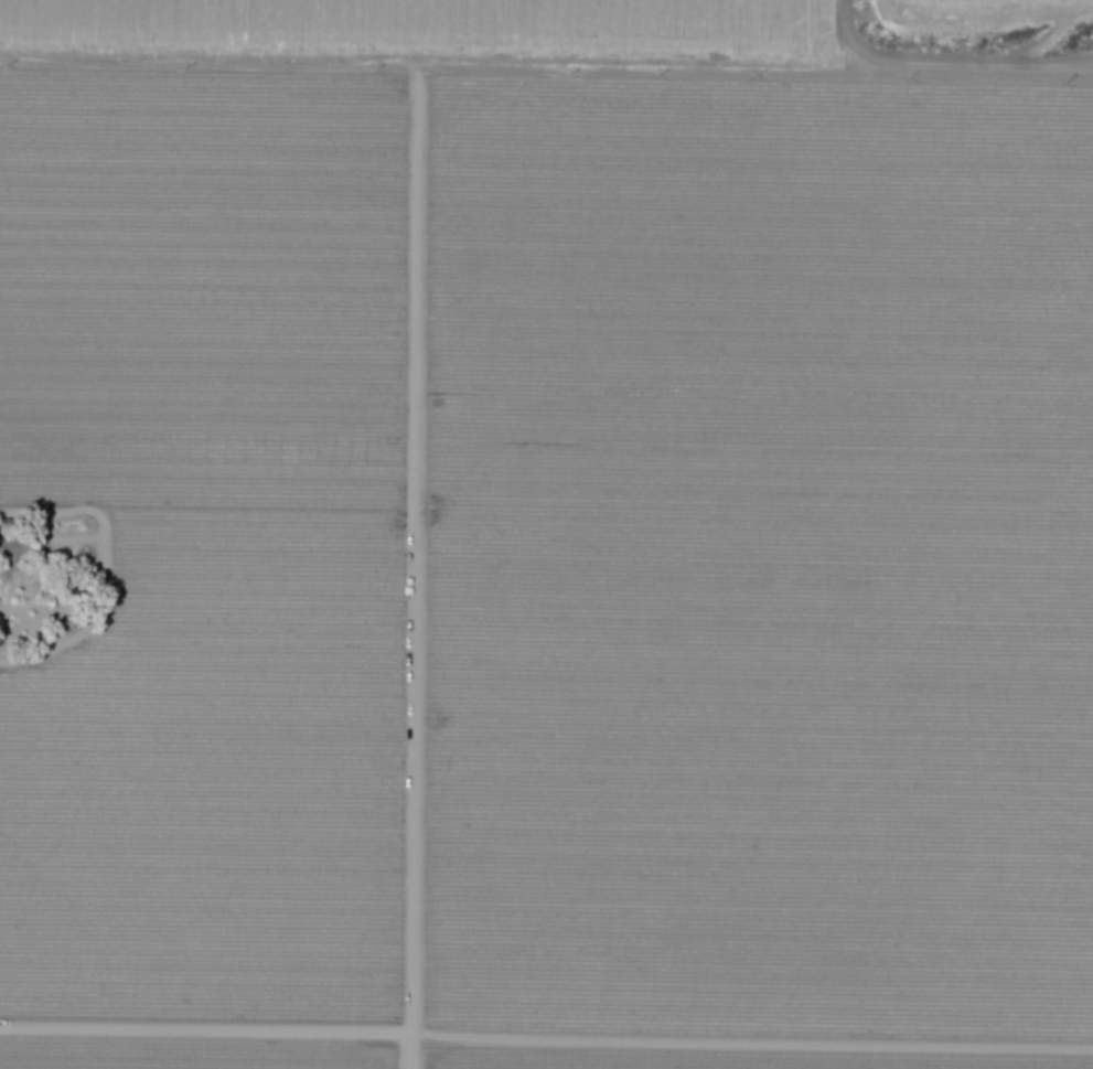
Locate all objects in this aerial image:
road: (223, 1030)

